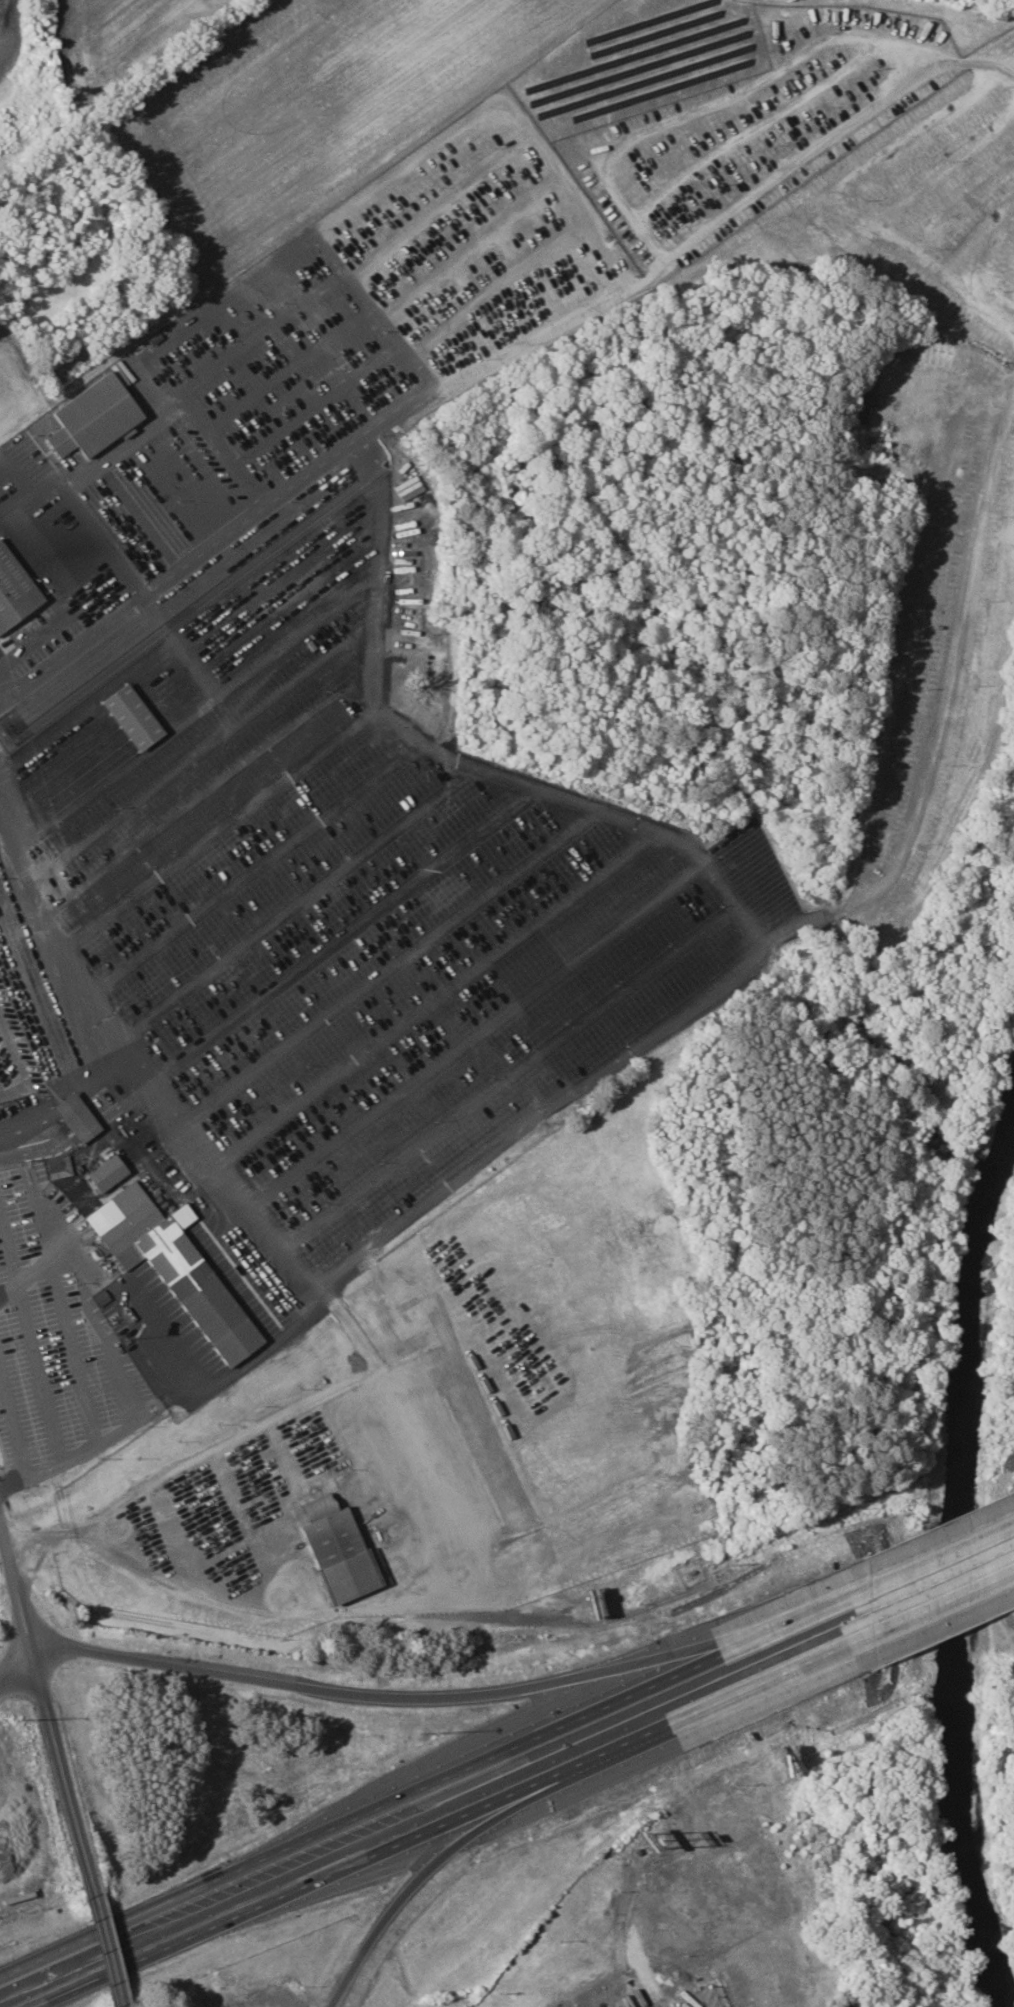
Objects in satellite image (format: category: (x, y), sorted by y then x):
road: (712, 107)
road: (844, 201)
road: (306, 244)
building: (98, 418)
road: (383, 418)
road: (179, 572)
building: (16, 589)
road: (945, 700)
building: (136, 716)
road: (143, 1061)
road: (19, 1065)
road: (100, 1073)
road: (0, 1095)
road: (0, 1097)
building: (81, 1117)
building: (61, 1167)
building: (110, 1173)
road: (58, 1219)
road: (401, 1222)
building: (178, 1267)
road: (104, 1334)
road: (15, 1438)
road: (127, 1541)
building: (342, 1549)
road: (935, 1566)
river: (957, 1588)
road: (937, 1603)
road: (18, 1661)
road: (50, 1693)
road: (380, 1698)
road: (428, 1791)
road: (447, 1822)
road: (447, 1857)
road: (115, 1948)

